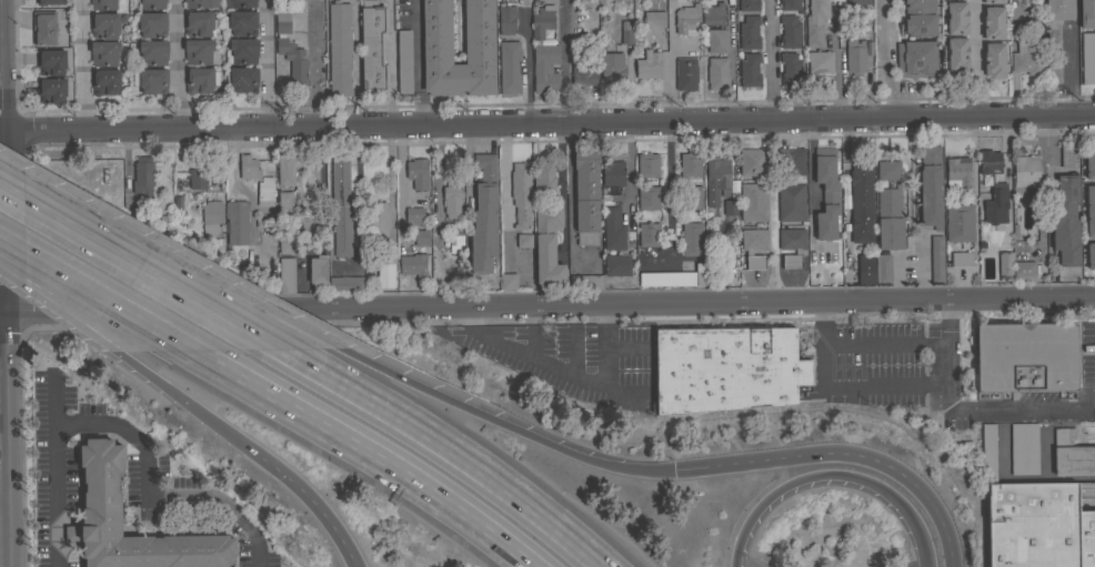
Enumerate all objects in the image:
building: (49, 1)
building: (857, 1)
building: (993, 1)
building: (152, 3)
building: (201, 3)
building: (239, 3)
building: (102, 4)
building: (790, 4)
building: (749, 6)
building: (1035, 11)
building: (1086, 13)
building: (712, 14)
building: (587, 16)
building: (653, 17)
building: (920, 18)
building: (956, 18)
building: (505, 19)
building: (686, 19)
building: (542, 21)
building: (240, 22)
building: (815, 22)
building: (993, 22)
building: (151, 23)
building: (198, 23)
building: (104, 24)
building: (43, 28)
building: (479, 31)
building: (625, 31)
building: (788, 31)
building: (749, 32)
building: (1055, 34)
building: (716, 40)
building: (372, 47)
building: (290, 48)
building: (339, 48)
building: (199, 51)
building: (241, 51)
building: (103, 52)
building: (152, 52)
building: (956, 53)
building: (854, 57)
building: (1026, 57)
road: (881, 58)
building: (915, 58)
road: (977, 58)
building: (1087, 58)
building: (993, 59)
road: (768, 60)
building: (50, 61)
building: (403, 61)
building: (820, 61)
road: (416, 62)
road: (563, 62)
road: (1009, 62)
road: (354, 63)
road: (82, 64)
road: (178, 64)
road: (265, 64)
building: (649, 64)
building: (612, 65)
road: (314, 67)
building: (509, 67)
building: (545, 68)
building: (790, 69)
building: (749, 70)
road: (1072, 71)
building: (583, 72)
road: (528, 73)
building: (685, 73)
building: (716, 73)
road: (667, 75)
building: (200, 79)
building: (241, 79)
building: (104, 81)
building: (152, 81)
building: (51, 90)
road: (547, 123)
building: (1068, 155)
building: (988, 161)
building: (752, 162)
building: (1089, 163)
building: (647, 164)
building: (690, 164)
road: (629, 166)
building: (249, 168)
building: (284, 170)
building: (887, 170)
building: (956, 171)
building: (1024, 172)
building: (416, 173)
building: (612, 175)
building: (142, 176)
building: (715, 176)
building: (197, 178)
building: (543, 178)
road: (1043, 181)
building: (308, 182)
road: (810, 182)
road: (389, 183)
road: (233, 186)
building: (791, 186)
building: (930, 186)
road: (669, 190)
building: (264, 192)
road: (565, 192)
building: (826, 193)
road: (358, 195)
building: (585, 196)
building: (690, 196)
building: (647, 198)
building: (452, 199)
road: (503, 199)
road: (845, 199)
building: (521, 201)
building: (753, 201)
building: (861, 201)
building: (284, 204)
building: (995, 204)
building: (340, 205)
building: (729, 206)
road: (51, 210)
building: (1089, 210)
building: (414, 215)
building: (483, 215)
building: (211, 216)
building: (888, 219)
building: (1065, 220)
building: (378, 221)
building: (237, 222)
building: (960, 222)
building: (310, 225)
building: (612, 230)
building: (649, 234)
building: (421, 236)
building: (692, 239)
building: (791, 239)
building: (454, 240)
building: (287, 243)
building: (546, 245)
building: (753, 246)
building: (1091, 255)
building: (936, 259)
building: (961, 259)
building: (791, 261)
building: (412, 264)
building: (616, 264)
building: (1005, 266)
building: (865, 269)
building: (882, 269)
building: (1023, 269)
building: (318, 270)
building: (287, 275)
building: (380, 276)
building: (673, 277)
building: (508, 281)
building: (585, 281)
road: (4, 283)
building: (344, 283)
road: (93, 291)
road: (224, 292)
road: (200, 297)
road: (550, 303)
road: (2, 307)
road: (66, 314)
road: (947, 342)
road: (885, 343)
road: (534, 345)
road: (630, 347)
road: (968, 348)
road: (609, 351)
road: (576, 356)
road: (530, 357)
building: (1023, 357)
parking lot: (575, 360)
road: (971, 361)
building: (725, 368)
parking lot: (930, 376)
road: (963, 385)
road: (841, 387)
road: (630, 398)
road: (188, 403)
road: (1009, 407)
road: (503, 423)
road: (132, 437)
building: (1023, 448)
road: (365, 449)
road: (843, 452)
building: (988, 452)
road: (454, 454)
building: (1072, 454)
traffic signals: (673, 469)
road: (776, 490)
road: (4, 492)
road: (890, 495)
road: (310, 498)
building: (89, 502)
building: (1038, 526)
road: (923, 541)

